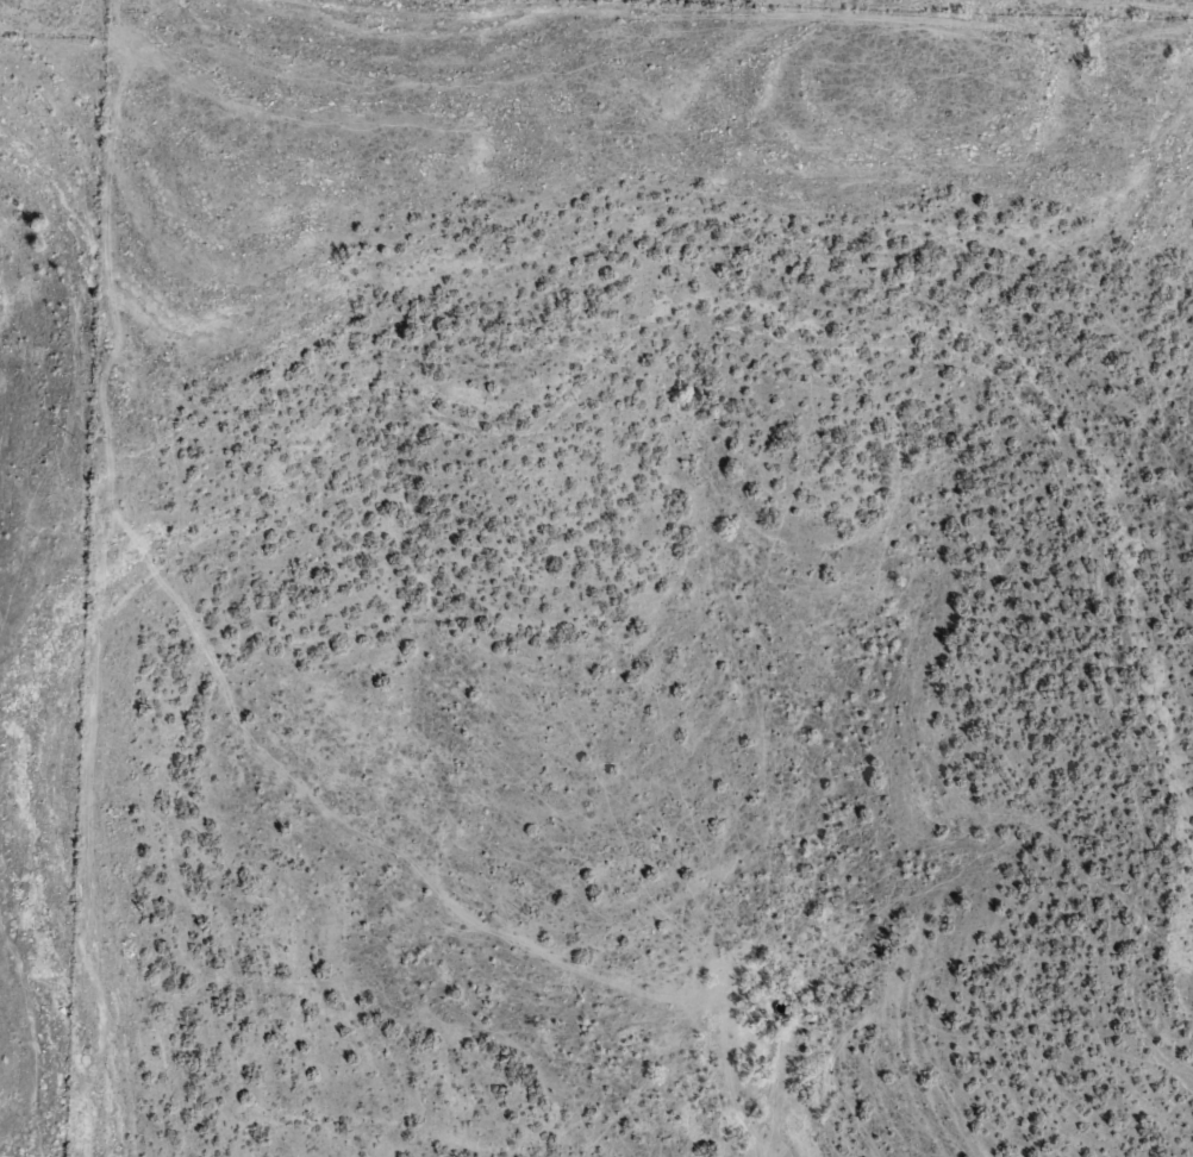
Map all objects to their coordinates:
road: (772, 1122)

